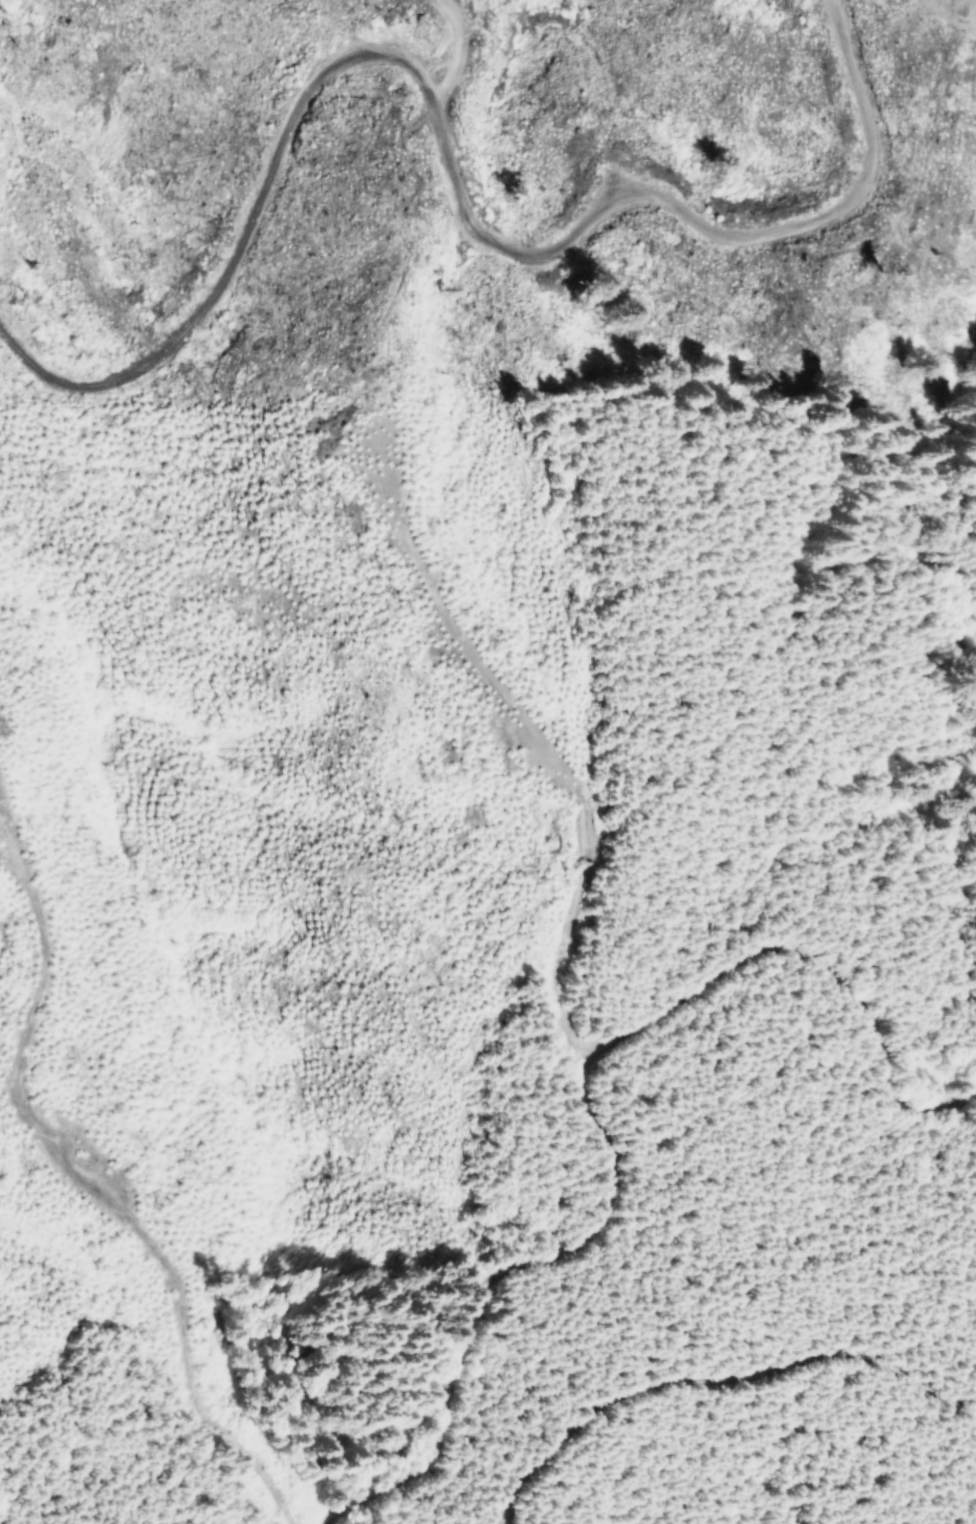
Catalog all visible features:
road: (352, 182)
road: (571, 1101)
road: (648, 1353)

